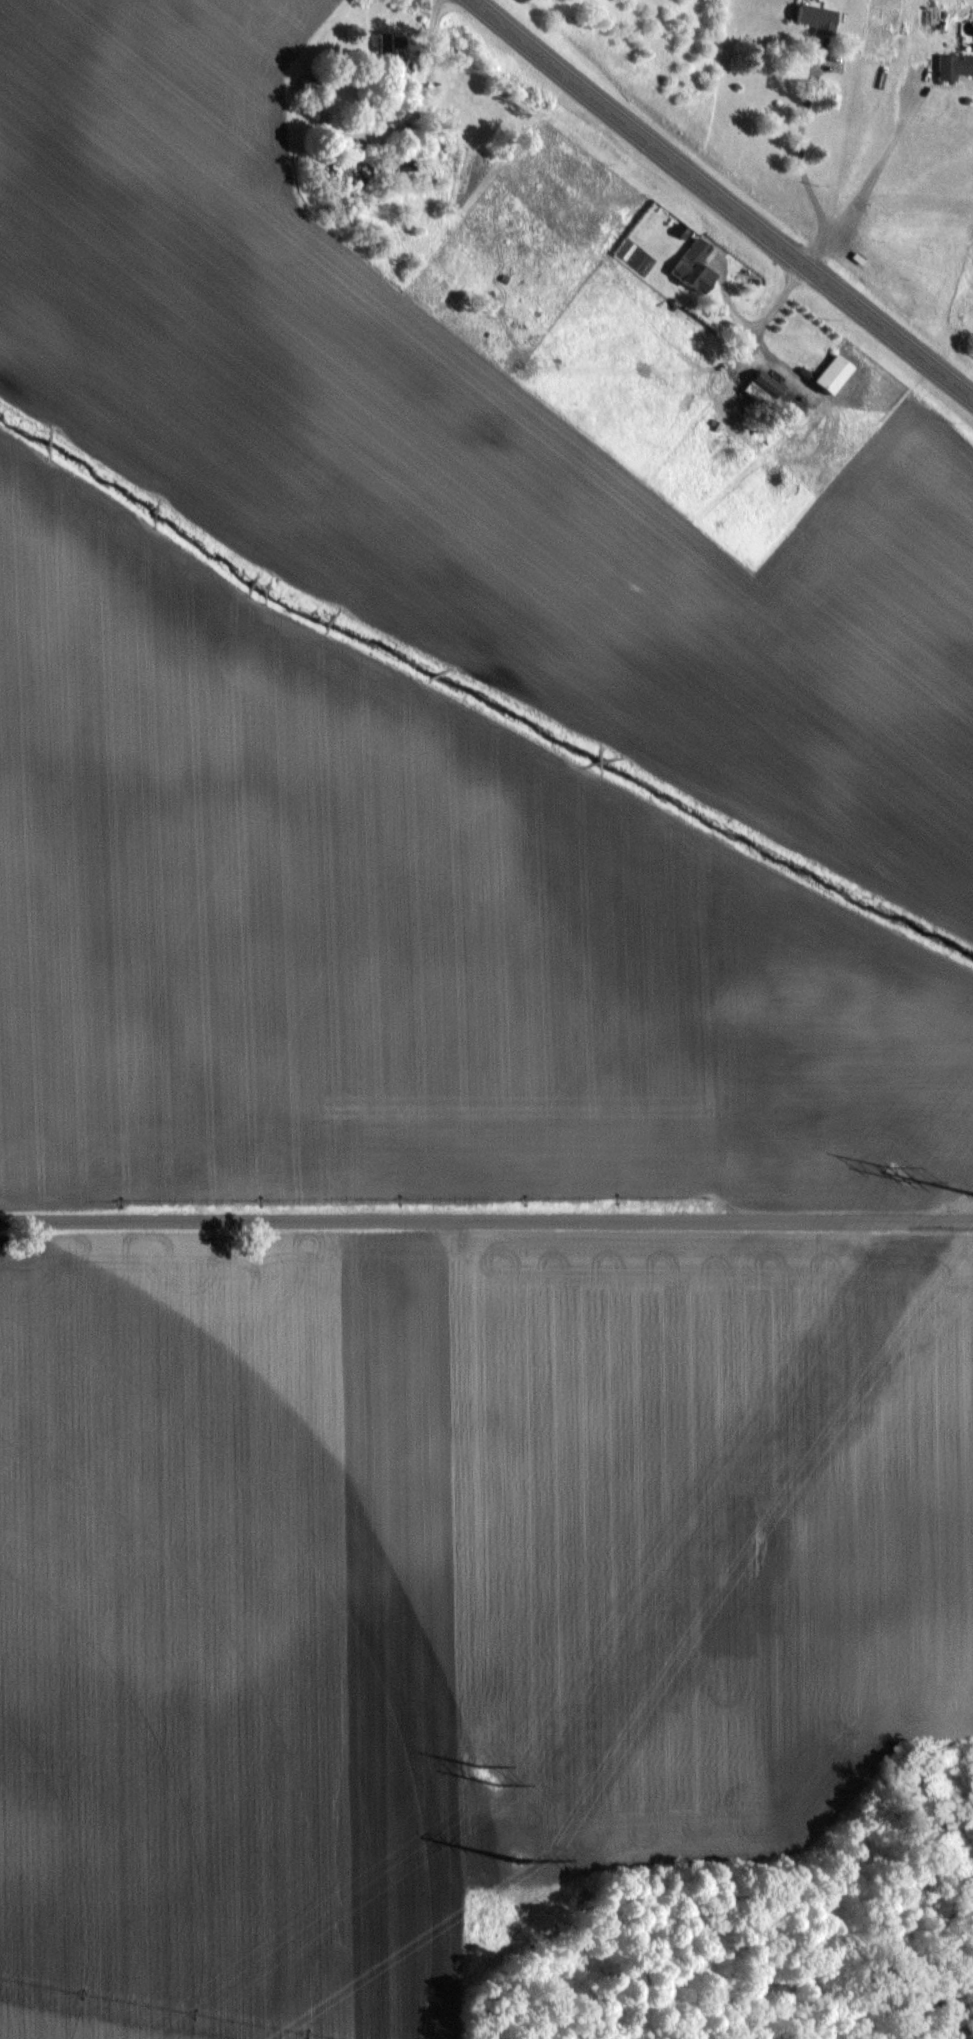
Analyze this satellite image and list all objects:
building: (812, 18)
building: (387, 49)
building: (952, 67)
road: (801, 146)
road: (872, 178)
road: (722, 199)
building: (687, 267)
building: (823, 375)
building: (757, 386)
power tower: (898, 1172)
road: (486, 1228)
power tower: (488, 1775)
power tower: (525, 1856)

